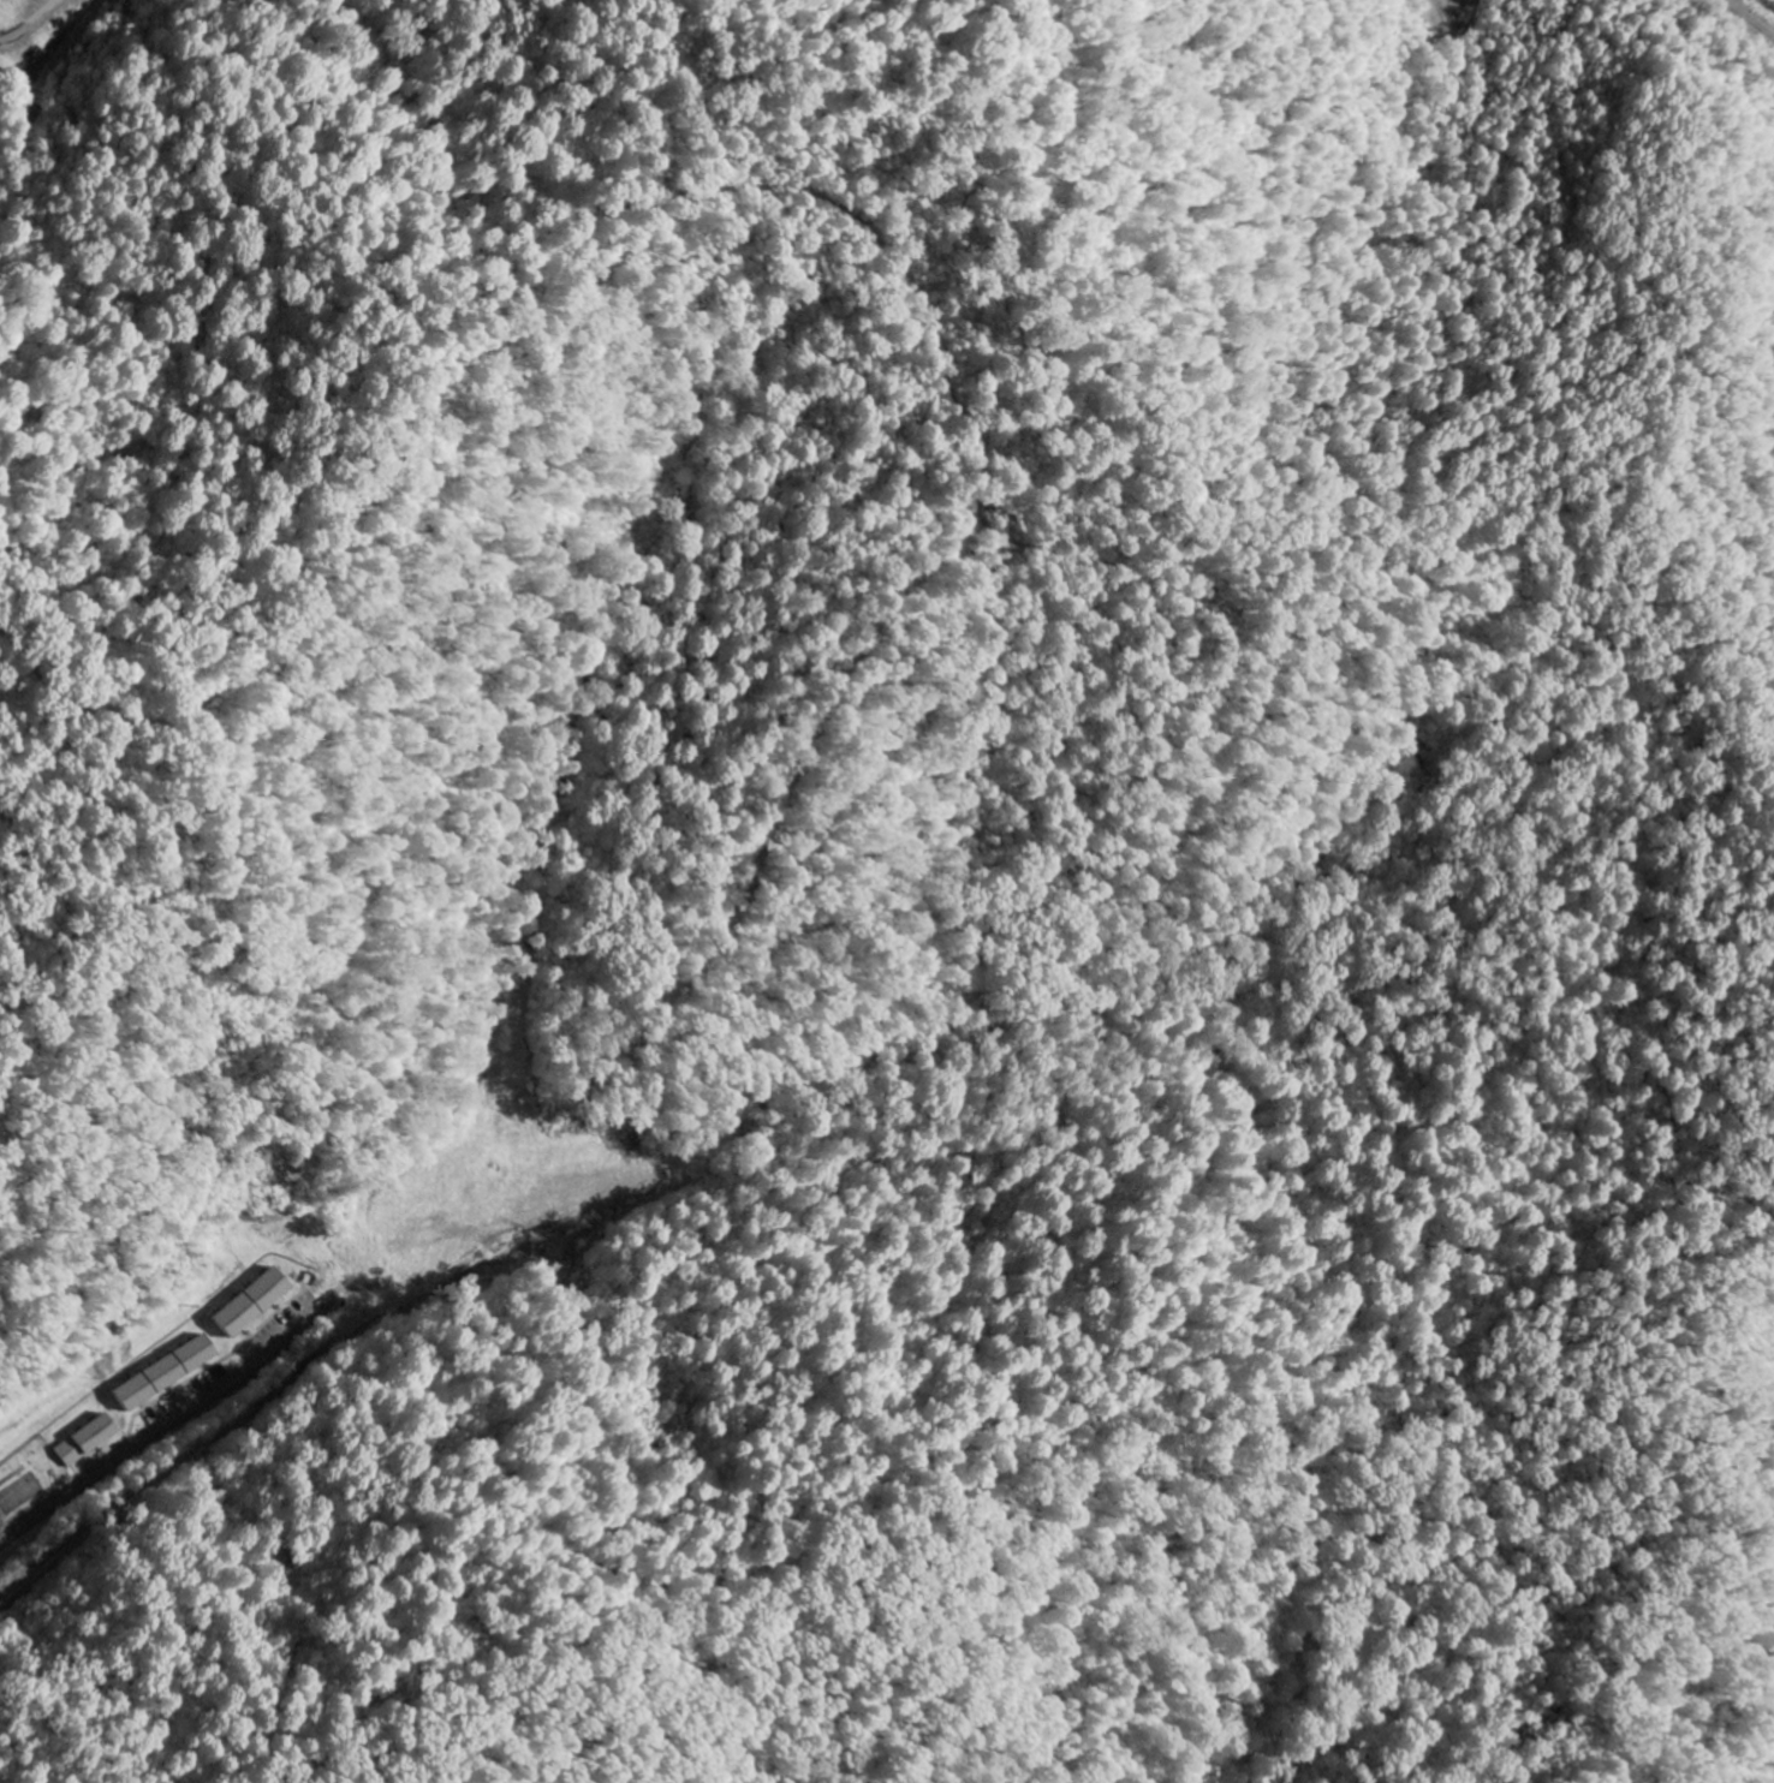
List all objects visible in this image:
road: (10, 43)
building: (252, 1302)
building: (165, 1373)
road: (155, 1431)
building: (85, 1441)

